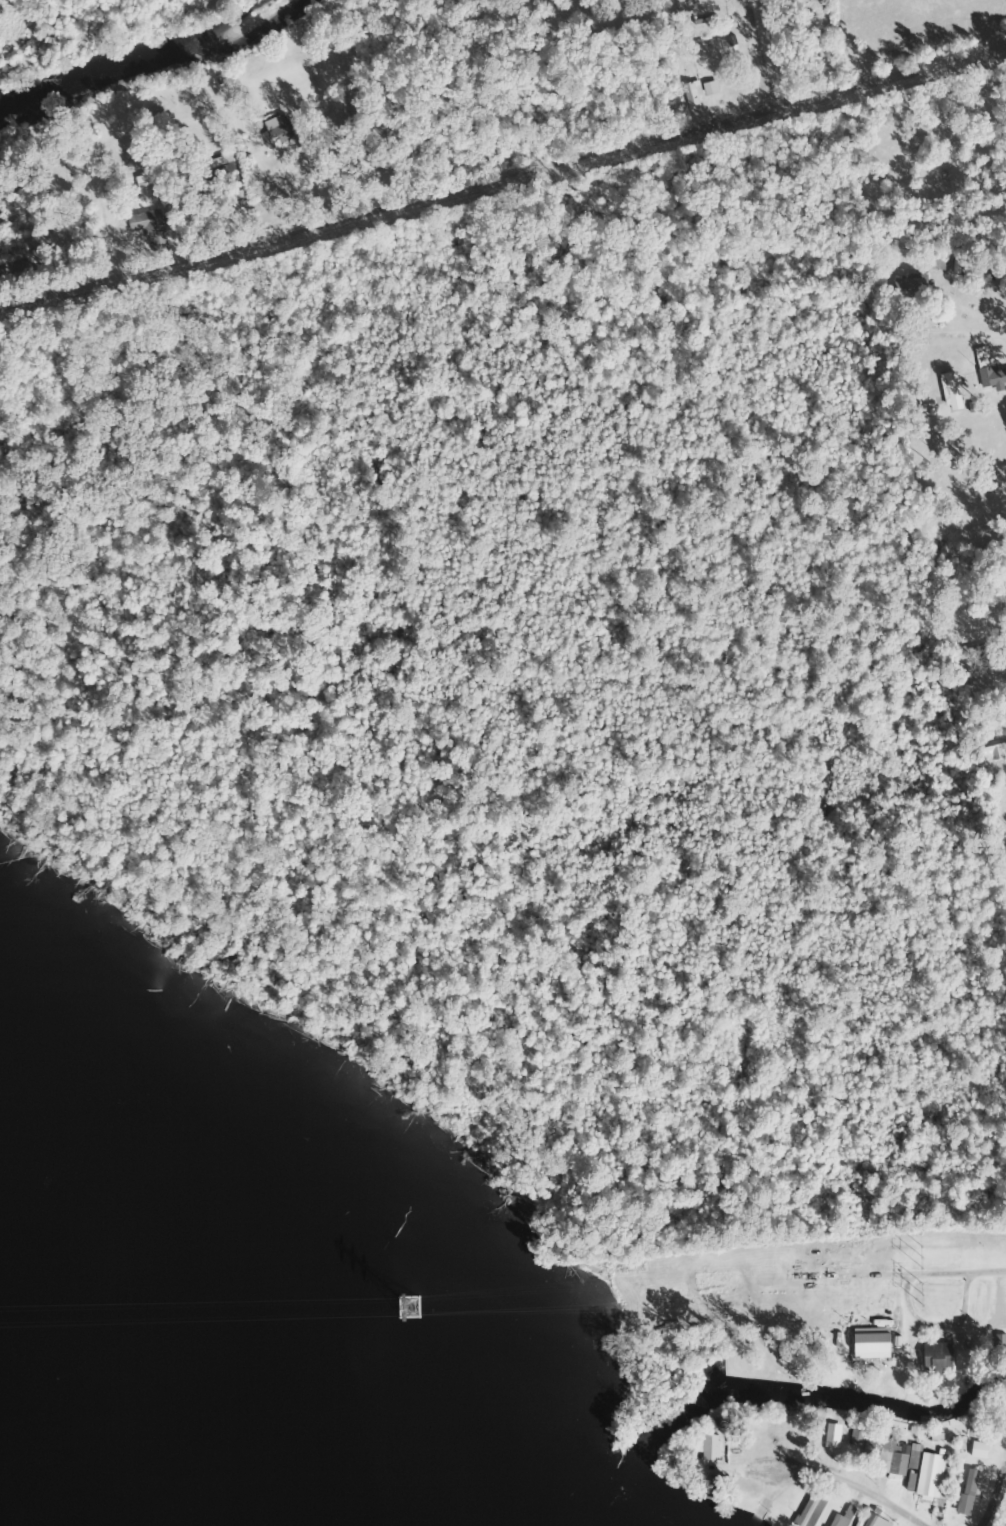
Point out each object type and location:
building: (793, 0)
road: (759, 32)
building: (691, 53)
building: (357, 103)
building: (280, 133)
road: (502, 139)
building: (370, 163)
building: (144, 188)
building: (148, 231)
building: (908, 287)
road: (932, 308)
building: (949, 392)
building: (971, 653)
building: (990, 752)
road: (907, 1229)
power tower: (915, 1255)
power tower: (918, 1293)
power tower: (409, 1306)
building: (890, 1341)
building: (934, 1359)
building: (1000, 1420)
building: (706, 1447)
building: (977, 1450)
building: (878, 1451)
building: (928, 1476)
building: (966, 1493)
building: (805, 1511)
building: (841, 1518)
building: (873, 1521)
road: (769, 1524)

